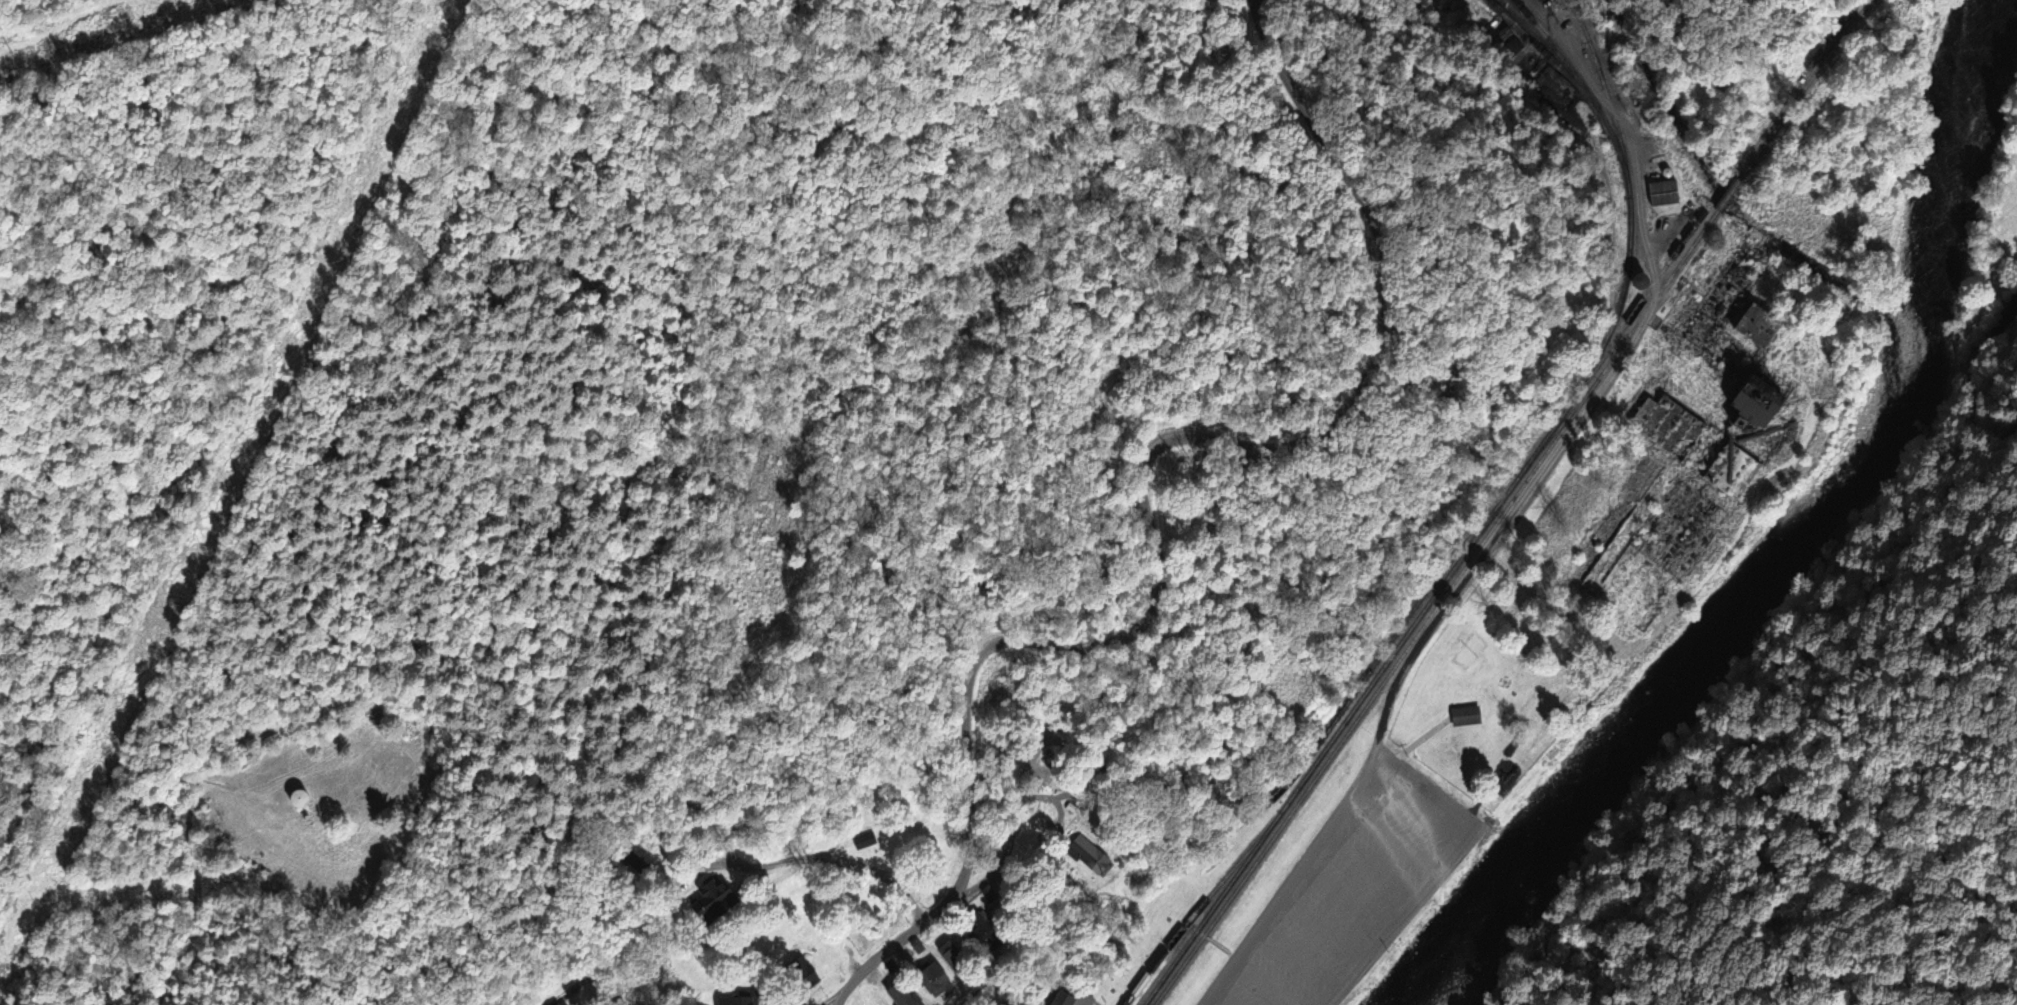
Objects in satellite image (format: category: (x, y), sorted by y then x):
railway: (1516, 8)
railway: (1583, 26)
railway: (1588, 53)
railway: (1549, 58)
railway: (1583, 86)
railway: (1805, 88)
railway: (1629, 175)
building: (1663, 193)
railway: (1729, 194)
railway: (1645, 296)
building: (1764, 328)
road: (2002, 388)
road: (1598, 392)
building: (1761, 403)
railway: (1550, 440)
building: (1700, 450)
road: (1140, 488)
river: (1799, 543)
park: (1103, 571)
railway: (1437, 607)
road: (1668, 620)
railway: (1368, 690)
road: (1735, 691)
building: (1468, 717)
railway: (1305, 761)
road: (1418, 799)
building: (303, 801)
road: (1393, 837)
building: (867, 840)
building: (1094, 856)
road: (817, 862)
road: (1369, 869)
road: (1291, 885)
parking lot: (1363, 892)
building: (994, 894)
road: (1347, 897)
building: (720, 898)
railway: (1193, 917)
road: (1394, 921)
railway: (1196, 923)
road: (1324, 928)
building: (989, 932)
building: (958, 955)
road: (1300, 959)
building: (942, 979)
road: (1269, 982)
road: (1128, 986)
building: (907, 995)
road: (1226, 998)
building: (1067, 999)
building: (739, 1000)
road: (833, 1002)
road: (836, 1002)

